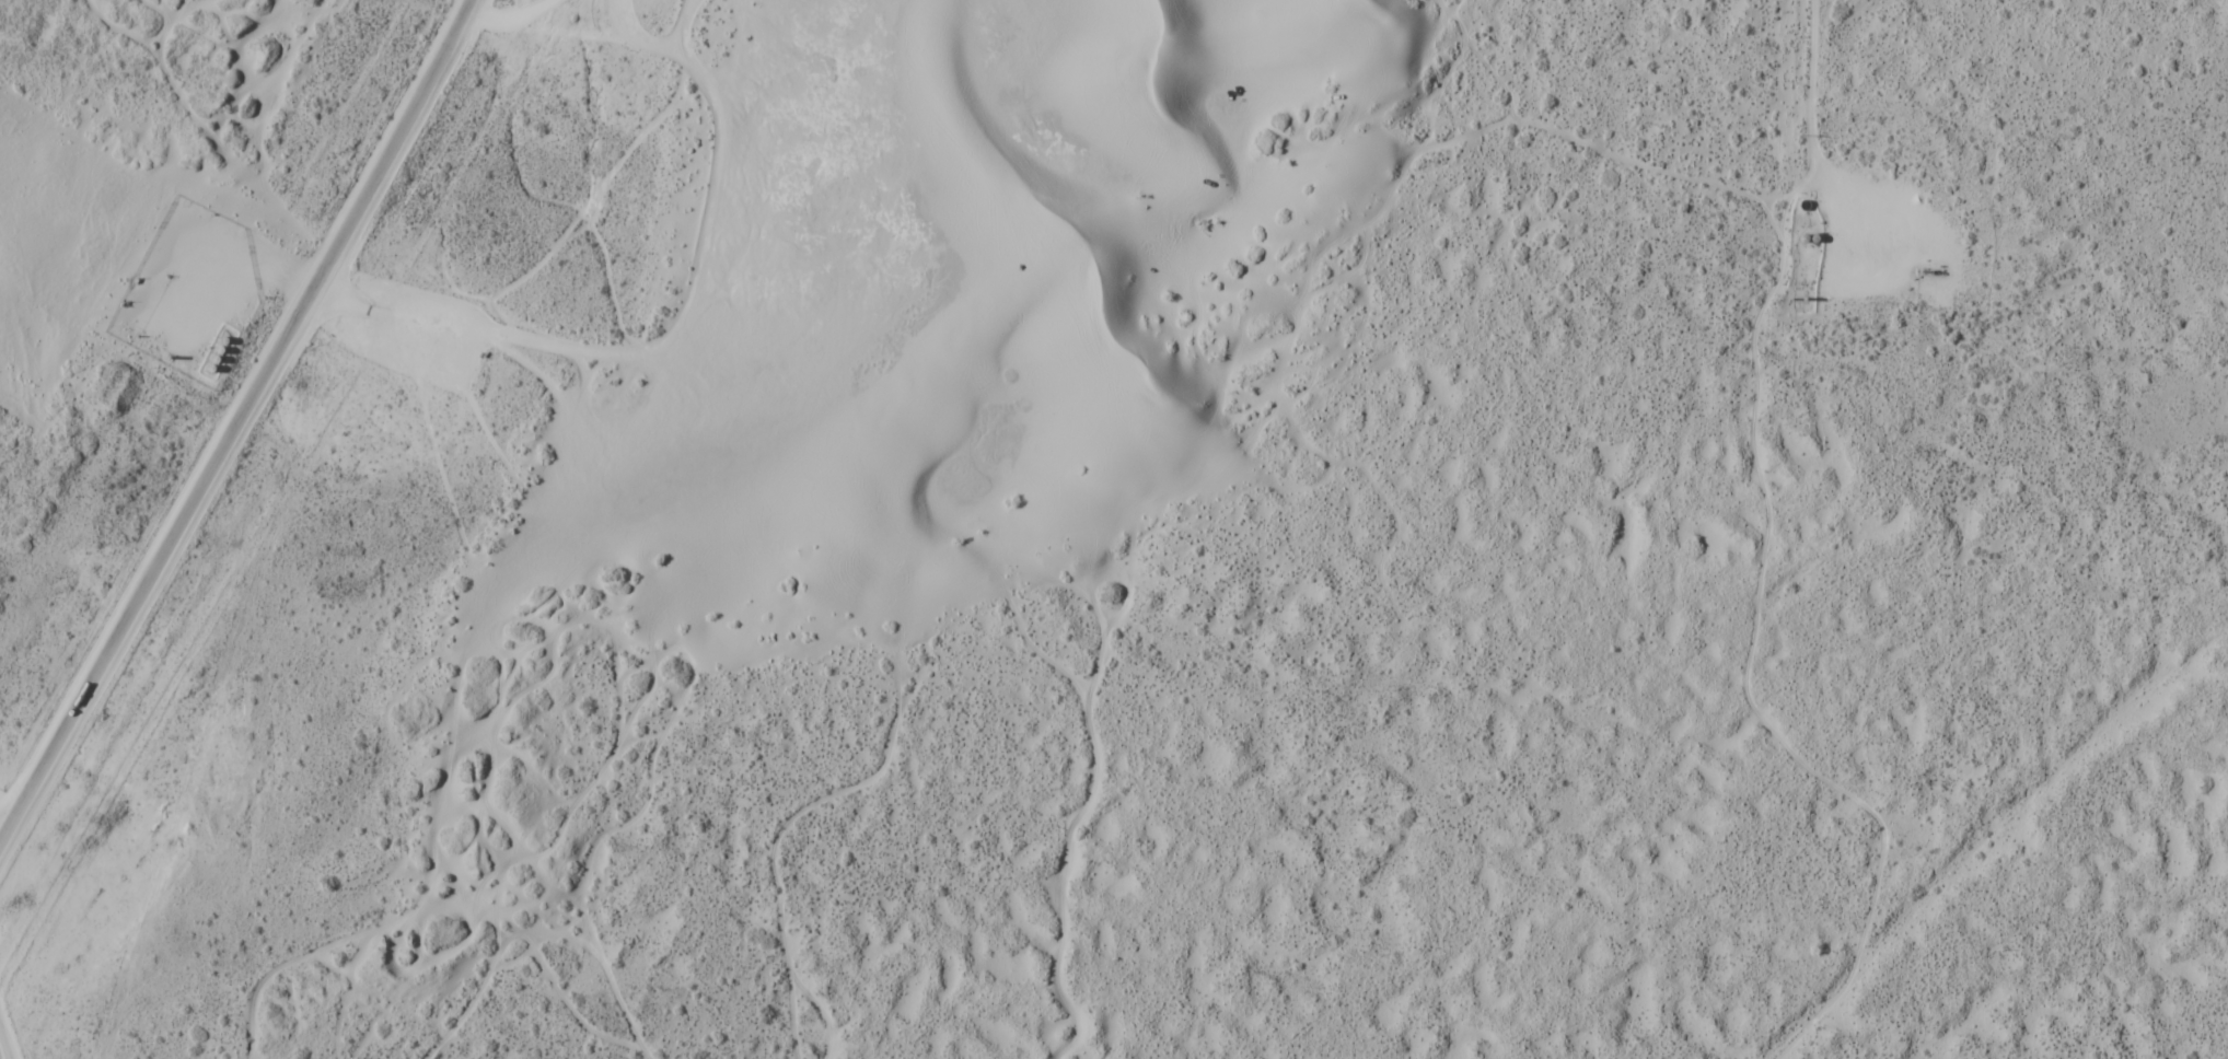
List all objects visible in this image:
road: (1825, 93)
road: (236, 420)
road: (11, 1019)

